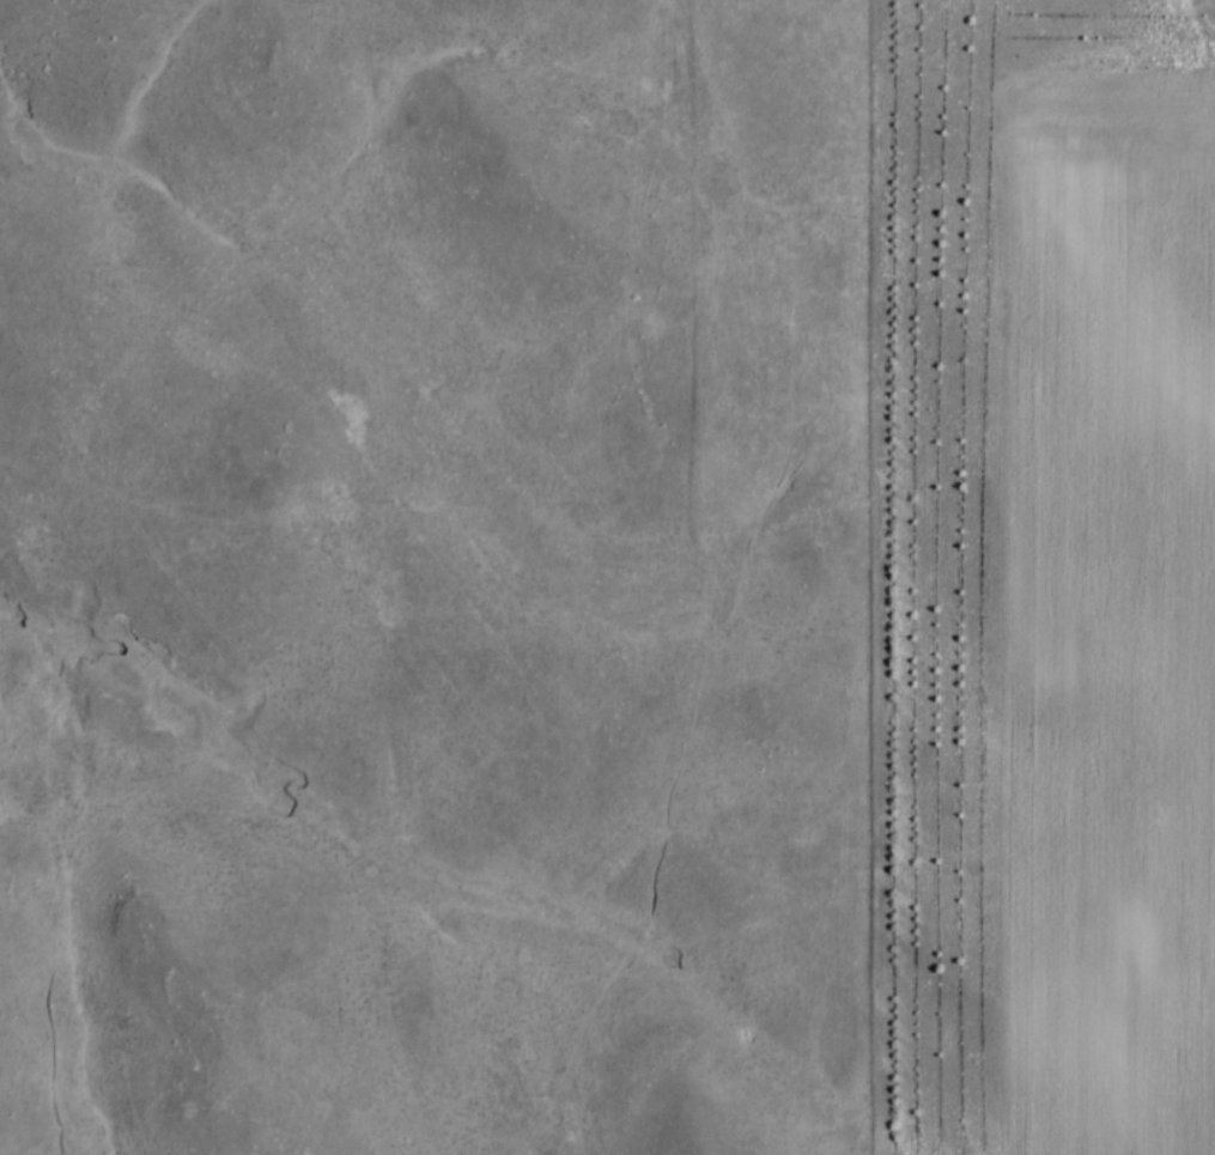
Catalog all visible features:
crop: (1102, 602)

